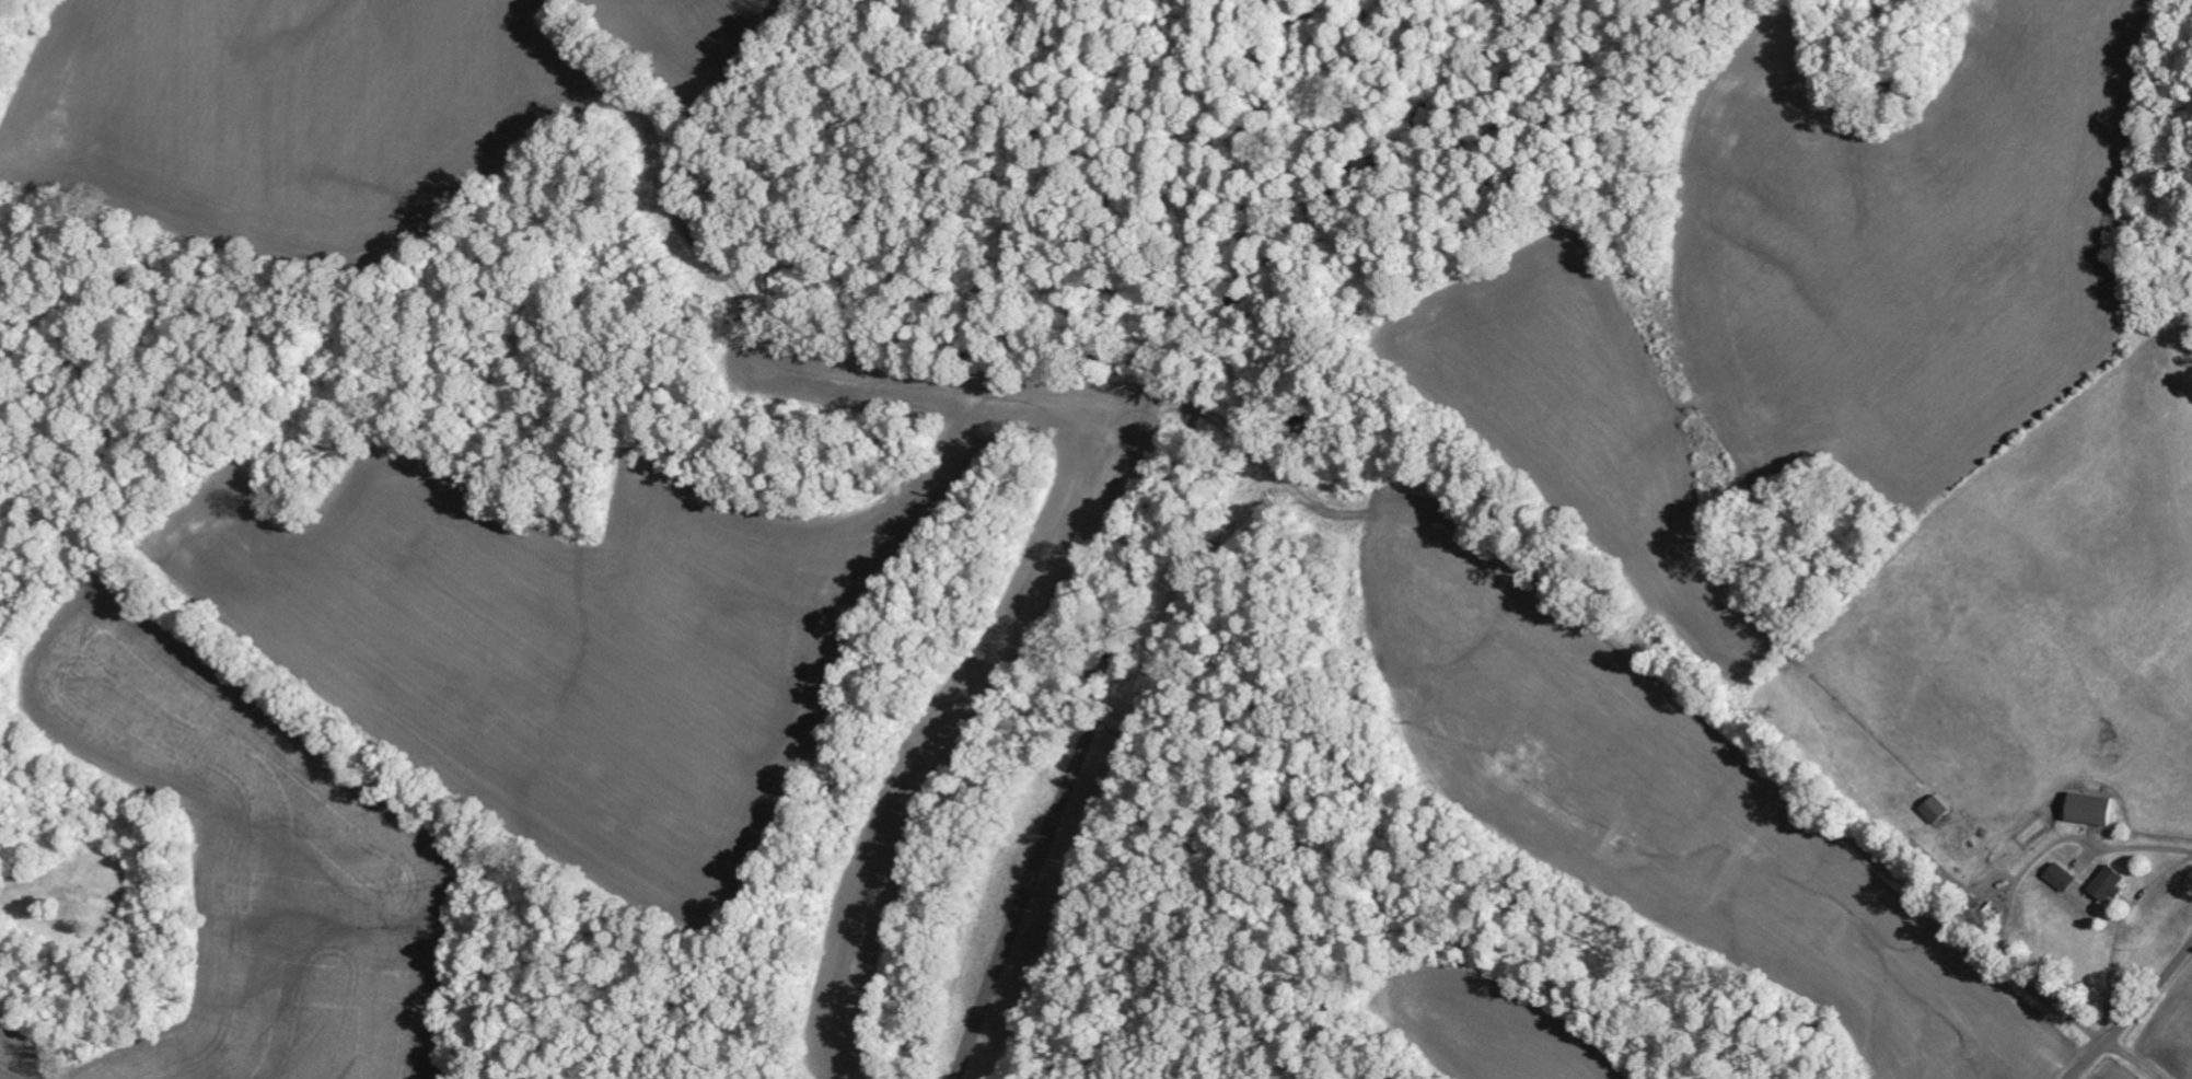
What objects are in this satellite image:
building: (1938, 810)
building: (2094, 810)
building: (2063, 878)
building: (2110, 884)
road: (2132, 1013)

